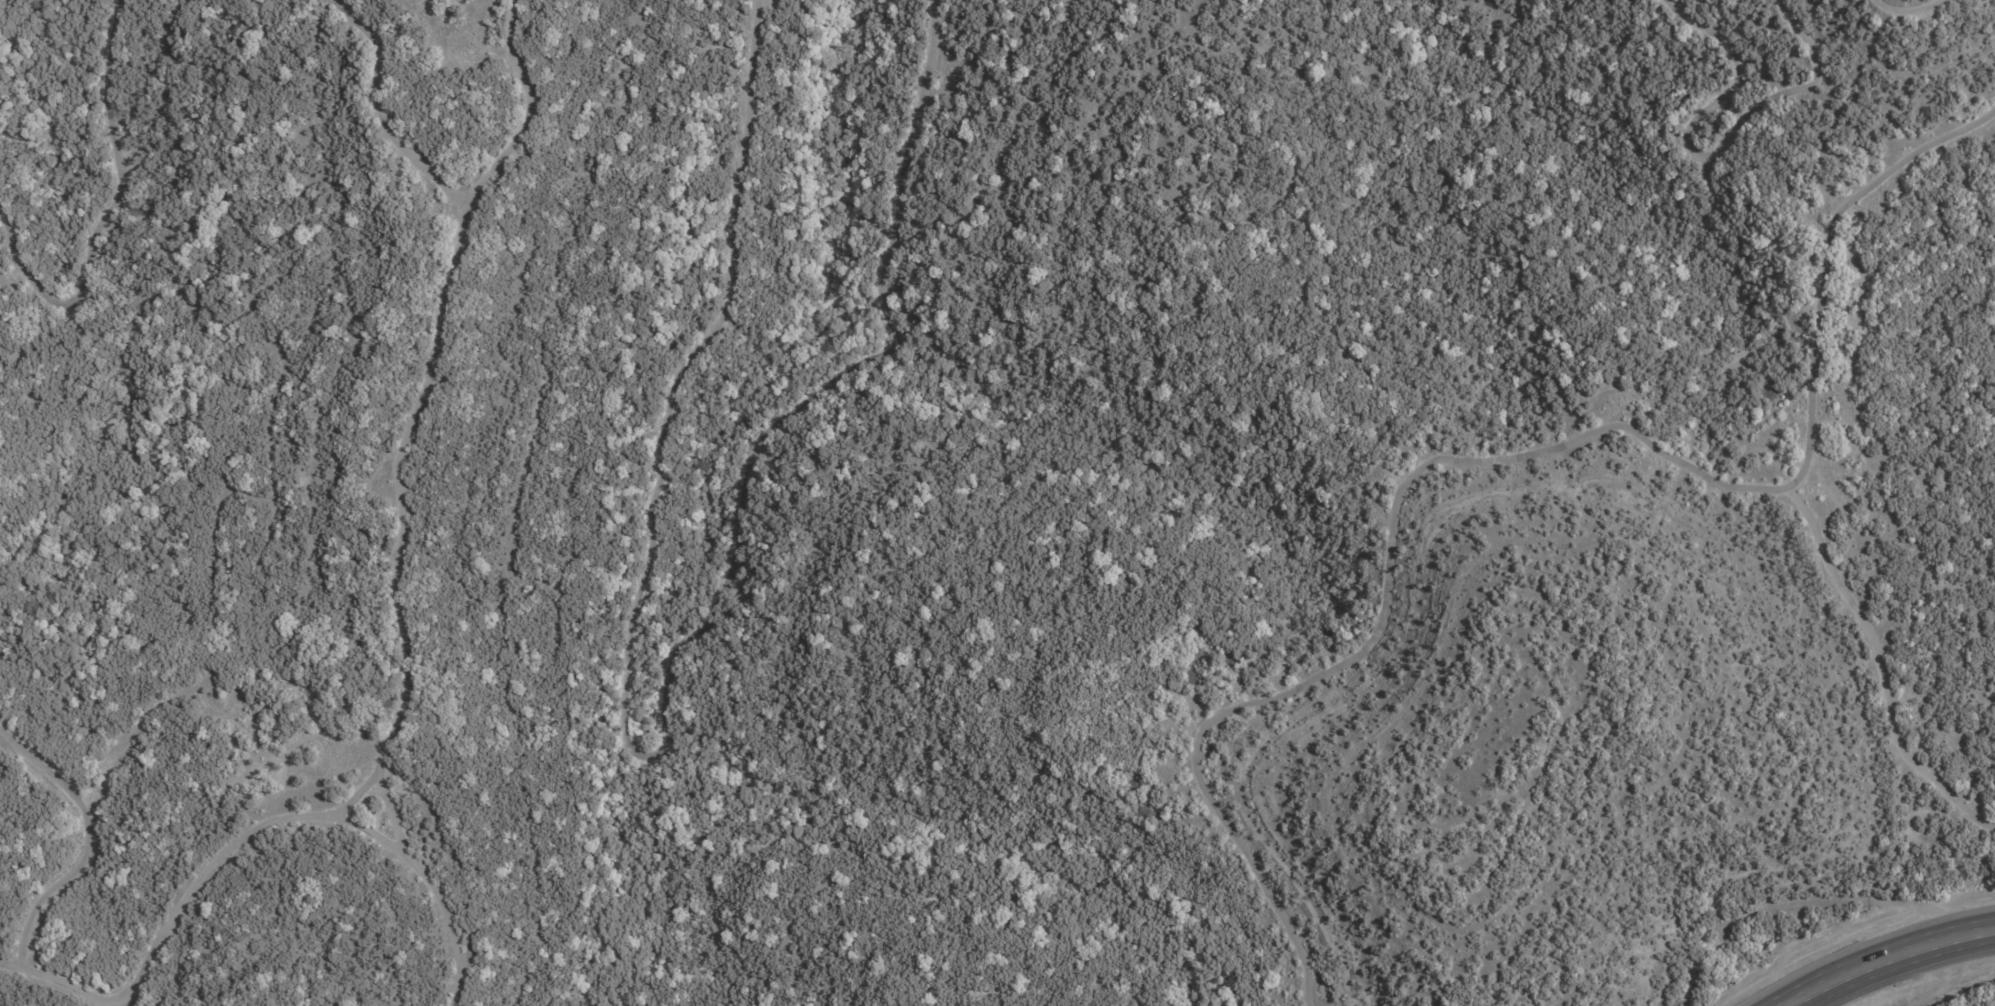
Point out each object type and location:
road: (1886, 959)

